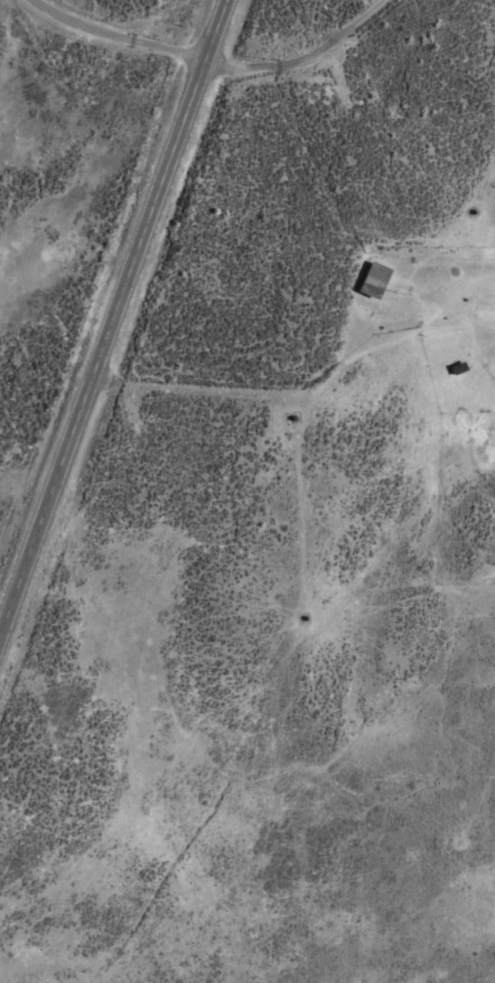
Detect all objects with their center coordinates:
road: (299, 59)
building: (373, 278)
road: (117, 325)
crop: (247, 491)

